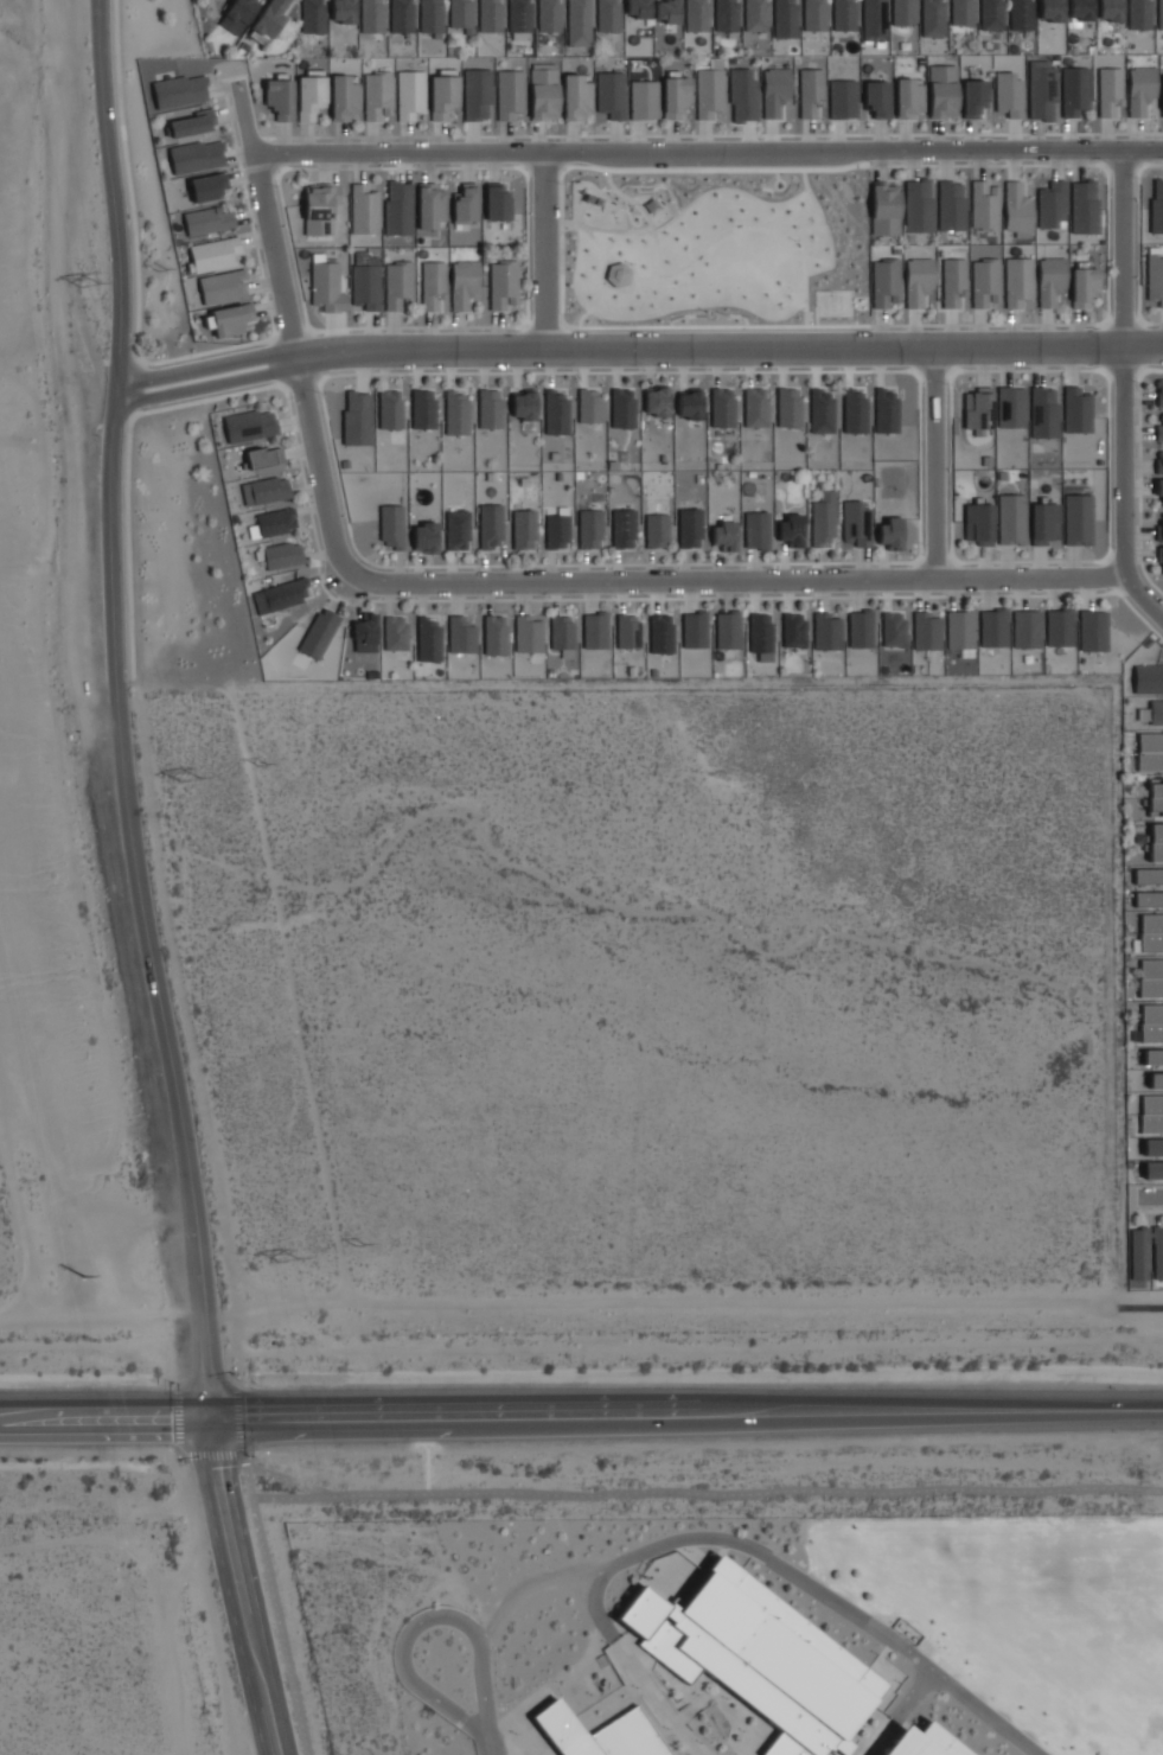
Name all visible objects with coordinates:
building: (637, 8)
building: (1080, 9)
building: (1110, 9)
building: (343, 11)
building: (666, 11)
building: (1050, 11)
building: (902, 12)
building: (961, 12)
building: (461, 14)
building: (814, 14)
building: (843, 14)
building: (991, 14)
building: (1020, 14)
building: (1139, 14)
building: (1159, 14)
building: (237, 15)
building: (312, 15)
building: (371, 15)
building: (402, 15)
building: (490, 15)
building: (519, 15)
building: (549, 15)
building: (607, 15)
building: (696, 15)
building: (726, 15)
building: (755, 15)
building: (432, 17)
building: (785, 18)
building: (933, 18)
building: (874, 20)
building: (579, 23)
building: (1140, 89)
building: (179, 90)
building: (1041, 90)
building: (1074, 90)
building: (774, 91)
building: (810, 91)
building: (941, 91)
building: (1108, 91)
building: (477, 92)
building: (709, 92)
building: (410, 94)
building: (510, 94)
building: (544, 94)
building: (611, 94)
building: (1009, 94)
building: (377, 95)
building: (743, 95)
building: (1162, 95)
building: (309, 96)
building: (442, 96)
building: (576, 96)
building: (675, 96)
building: (280, 97)
building: (973, 97)
building: (344, 98)
building: (843, 98)
building: (876, 98)
building: (908, 98)
building: (644, 100)
building: (193, 123)
road: (715, 135)
road: (708, 151)
road: (273, 155)
building: (196, 157)
road: (494, 167)
road: (1122, 168)
building: (209, 186)
building: (497, 202)
building: (466, 204)
building: (1052, 204)
building: (430, 205)
building: (951, 205)
building: (984, 205)
building: (918, 206)
building: (1156, 206)
building: (320, 208)
building: (398, 208)
building: (886, 208)
building: (1016, 208)
building: (1084, 208)
building: (364, 209)
building: (207, 221)
road: (1107, 236)
road: (1137, 243)
road: (543, 249)
park: (715, 250)
building: (212, 254)
power tower: (162, 273)
building: (1155, 276)
building: (1050, 280)
building: (918, 281)
building: (1017, 281)
building: (884, 282)
building: (984, 282)
building: (464, 283)
building: (503, 283)
building: (953, 283)
building: (397, 285)
building: (433, 285)
building: (223, 286)
building: (327, 286)
building: (365, 286)
building: (1084, 286)
power tower: (91, 287)
building: (231, 319)
road: (1139, 320)
road: (1105, 321)
road: (1122, 323)
road: (292, 326)
road: (312, 333)
road: (119, 339)
road: (1138, 345)
road: (1106, 346)
road: (637, 347)
road: (275, 360)
road: (162, 362)
road: (1123, 370)
road: (961, 371)
road: (1105, 371)
road: (1139, 371)
road: (351, 374)
road: (933, 375)
road: (303, 382)
road: (138, 389)
road: (1124, 390)
building: (1159, 394)
building: (656, 400)
building: (523, 403)
building: (689, 404)
building: (589, 406)
building: (722, 407)
building: (755, 407)
building: (787, 407)
building: (1010, 407)
building: (490, 408)
building: (622, 408)
building: (388, 409)
building: (423, 409)
building: (886, 409)
building: (978, 409)
building: (855, 410)
building: (1076, 410)
building: (456, 411)
building: (556, 413)
building: (1043, 413)
building: (356, 416)
building: (250, 425)
building: (1159, 426)
building: (263, 457)
building: (1158, 460)
road: (934, 464)
road: (1138, 474)
building: (1158, 489)
building: (269, 490)
building: (823, 517)
building: (1010, 518)
building: (1078, 519)
building: (275, 522)
building: (855, 523)
building: (978, 523)
building: (1043, 523)
building: (490, 525)
building: (1162, 525)
building: (622, 528)
building: (689, 528)
building: (456, 529)
building: (523, 529)
building: (557, 529)
building: (589, 529)
building: (389, 530)
building: (656, 530)
building: (755, 530)
building: (790, 530)
building: (889, 532)
building: (724, 536)
building: (424, 537)
building: (282, 555)
building: (1162, 559)
road: (937, 560)
road: (1107, 575)
road: (735, 582)
building: (281, 595)
road: (432, 600)
building: (993, 627)
building: (1059, 627)
building: (861, 628)
building: (893, 628)
building: (1025, 628)
building: (728, 630)
building: (793, 630)
building: (959, 630)
building: (561, 631)
building: (594, 631)
building: (627, 631)
building: (694, 631)
building: (926, 631)
building: (1093, 631)
building: (826, 632)
building: (319, 633)
building: (365, 633)
building: (395, 633)
building: (461, 633)
building: (528, 633)
building: (660, 633)
building: (496, 634)
building: (760, 636)
building: (428, 640)
building: (1148, 679)
building: (1156, 713)
building: (1150, 752)
power tower: (262, 765)
power tower: (192, 785)
building: (1155, 797)
building: (1156, 841)
building: (1149, 876)
building: (1148, 899)
building: (1151, 932)
building: (1151, 977)
building: (1151, 1022)
road: (168, 1047)
building: (1152, 1058)
building: (1155, 1079)
building: (1151, 1113)
building: (1152, 1147)
building: (1152, 1169)
road: (1151, 1195)
power tower: (360, 1246)
building: (1157, 1252)
building: (1138, 1253)
power tower: (290, 1265)
power tower: (83, 1275)
road: (1139, 1308)
road: (688, 1411)
road: (107, 1417)
traffic signals: (213, 1417)
road: (769, 1563)
road: (244, 1585)
road: (275, 1606)
road: (422, 1622)
building: (758, 1657)
building: (882, 1697)
building: (601, 1732)
building: (924, 1741)
road: (486, 1744)

